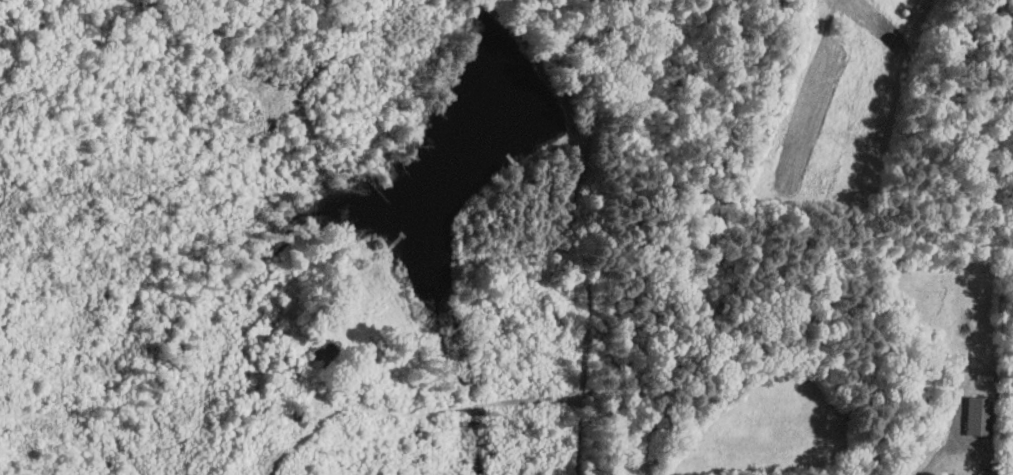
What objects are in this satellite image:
building: (979, 414)
road: (936, 457)

